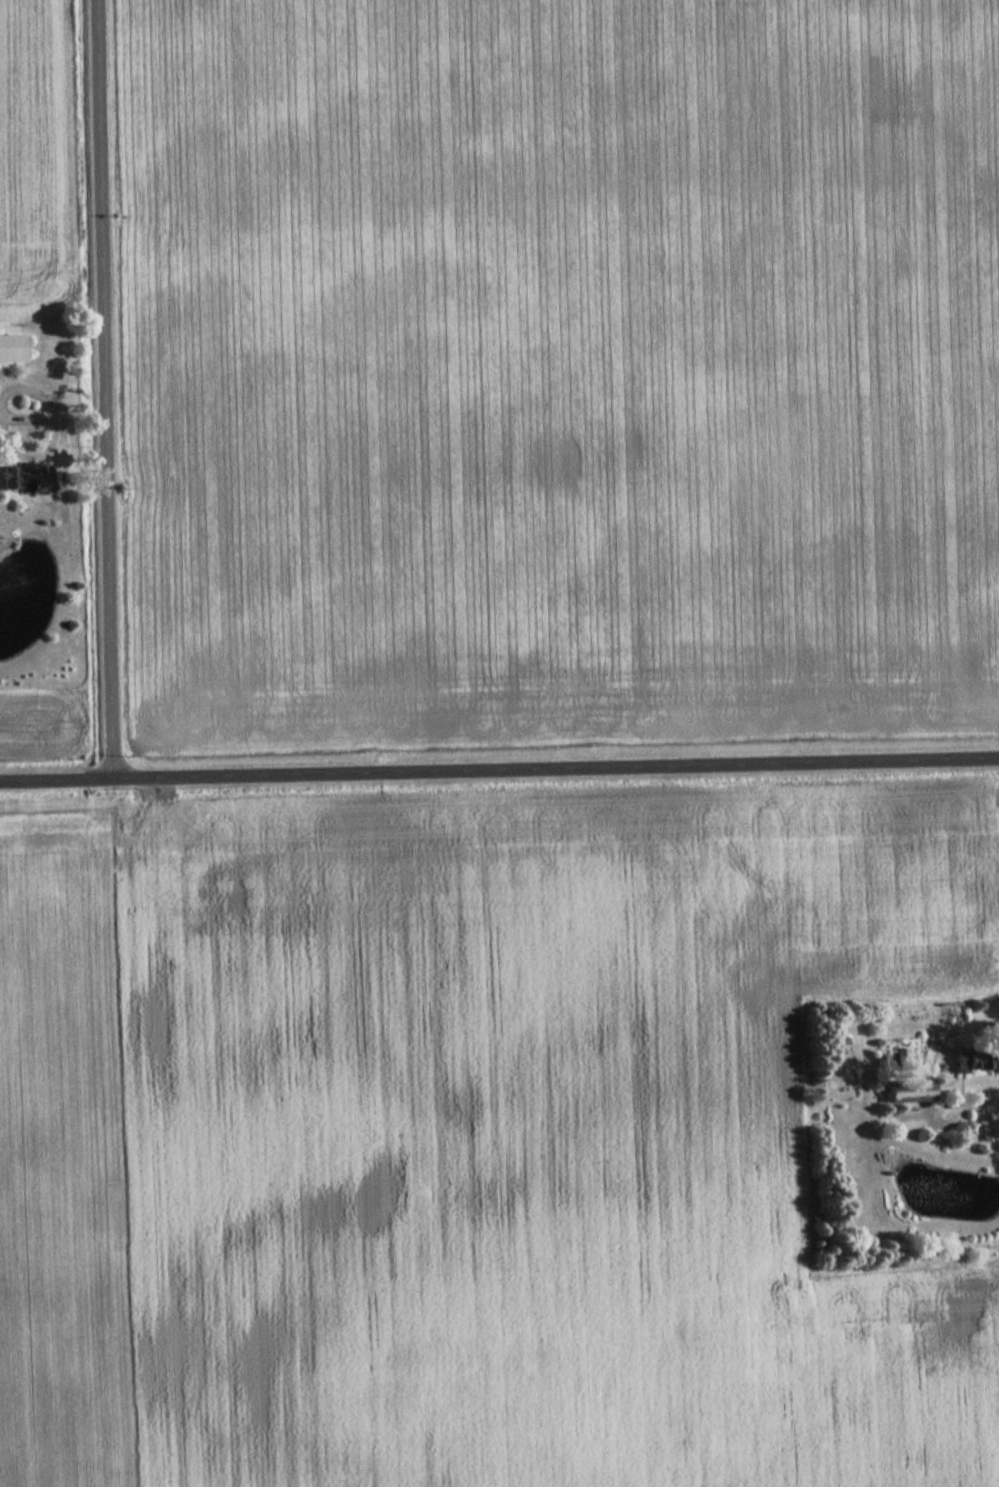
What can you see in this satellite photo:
crop: (36, 161)
building: (10, 348)
crop: (555, 369)
road: (105, 386)
road: (499, 766)
building: (920, 1091)
crop: (464, 1144)

